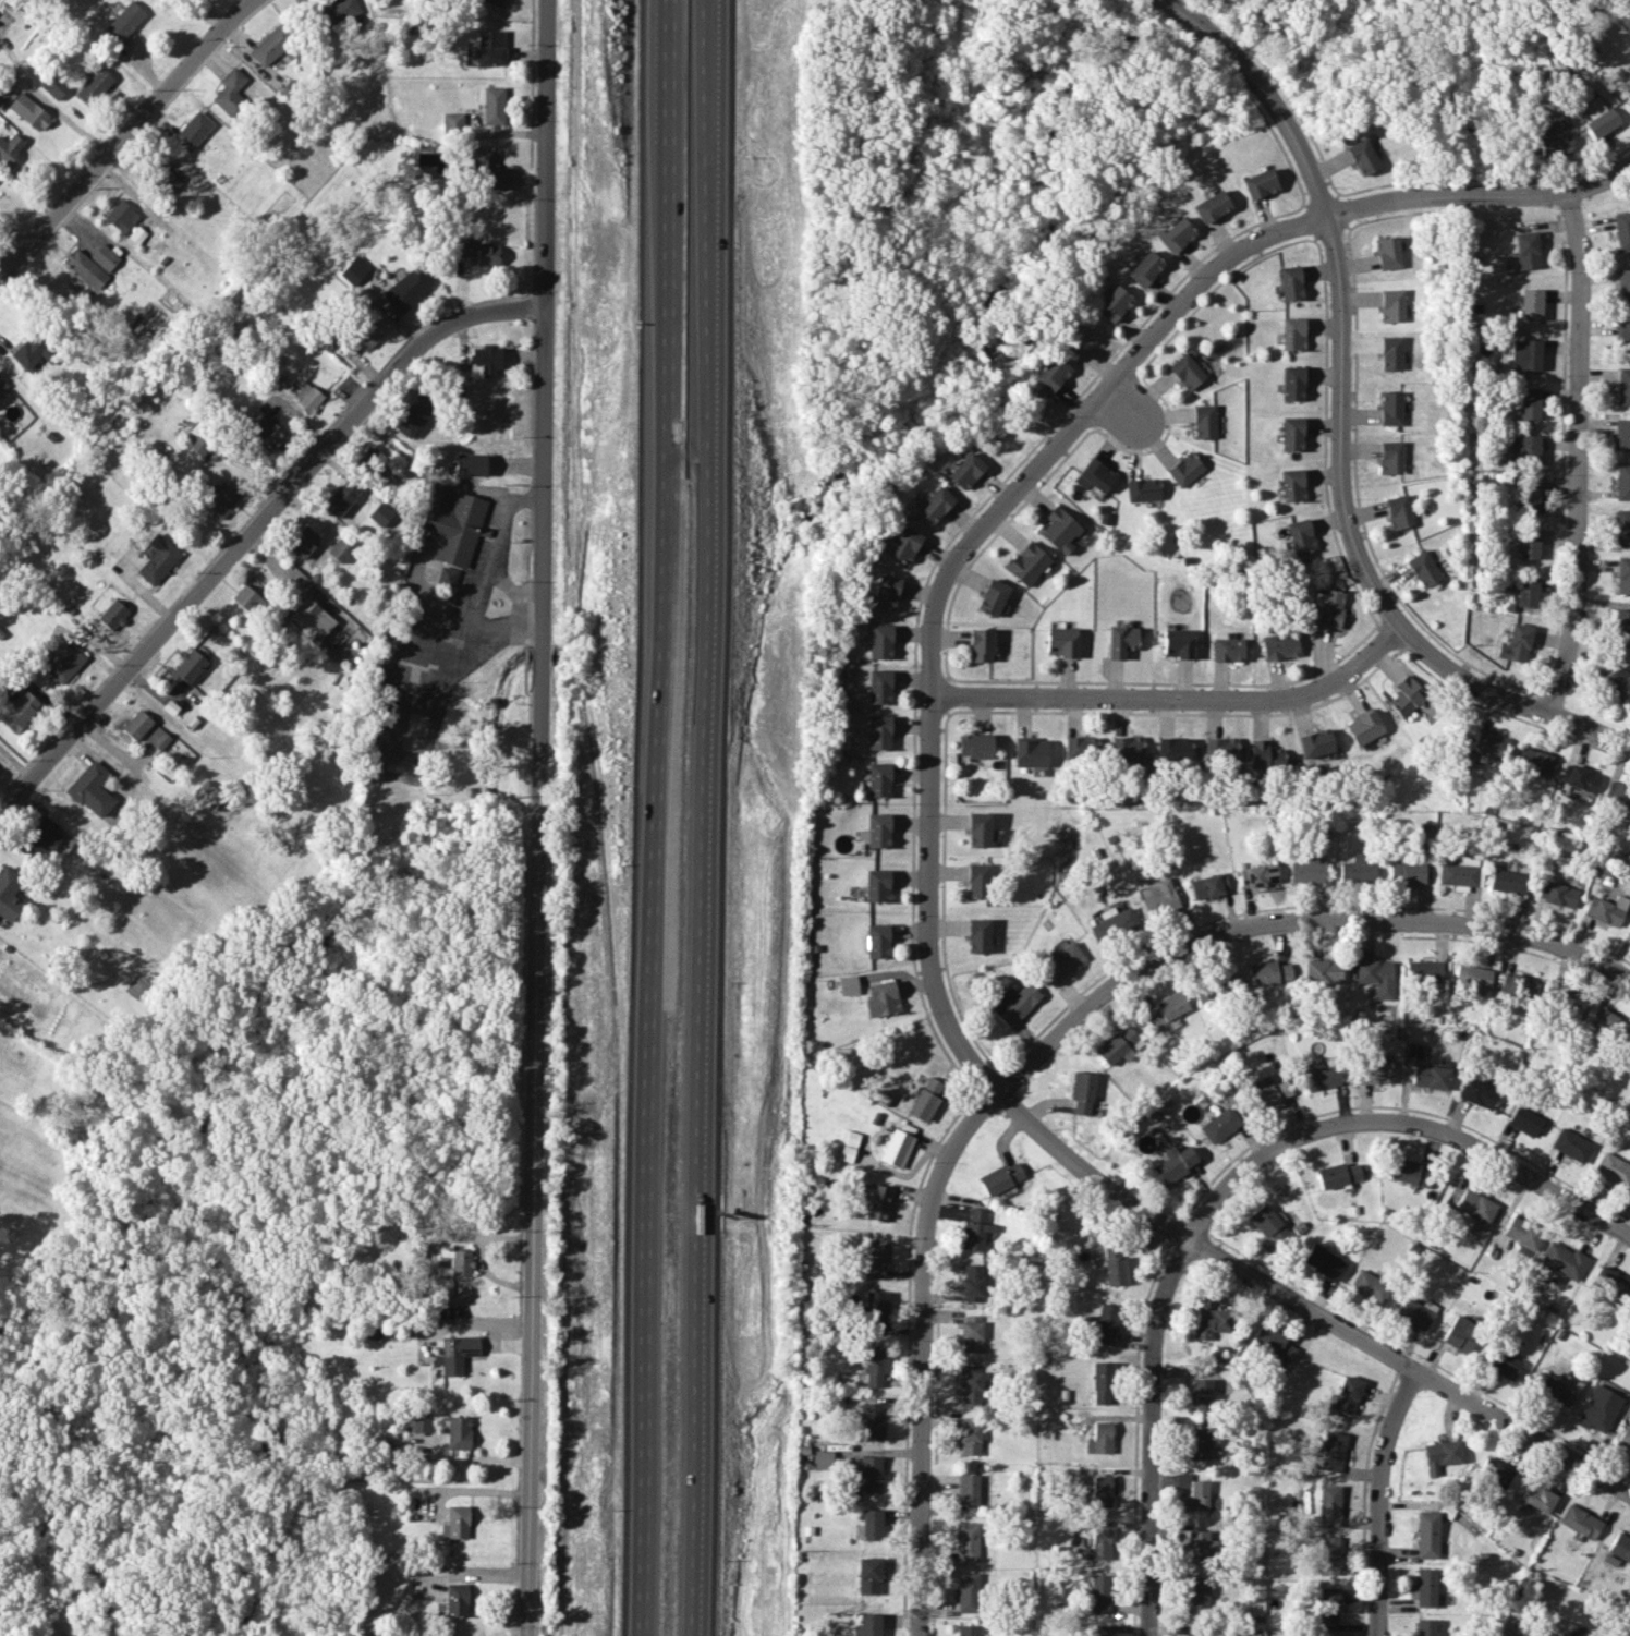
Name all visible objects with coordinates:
building: (494, 2)
road: (1171, 8)
building: (338, 10)
building: (124, 21)
building: (270, 46)
building: (490, 47)
building: (53, 85)
building: (94, 86)
building: (1627, 87)
building: (229, 89)
building: (3, 92)
road: (46, 101)
building: (491, 105)
building: (28, 111)
building: (1598, 118)
building: (452, 121)
building: (1554, 125)
building: (193, 131)
road: (127, 138)
building: (1554, 144)
building: (9, 148)
building: (1362, 157)
building: (486, 170)
building: (166, 173)
building: (1258, 183)
road: (1480, 196)
building: (1209, 206)
building: (120, 216)
building: (1621, 230)
building: (135, 233)
building: (1173, 234)
building: (1525, 250)
building: (477, 252)
building: (1387, 253)
building: (92, 264)
building: (1144, 268)
building: (353, 269)
building: (1289, 281)
building: (1623, 284)
building: (406, 289)
building: (1114, 303)
road: (1336, 304)
building: (1531, 304)
building: (1391, 305)
building: (1291, 334)
building: (368, 336)
building: (1623, 336)
building: (1083, 338)
building: (31, 351)
building: (1391, 353)
building: (1525, 354)
building: (486, 359)
building: (1187, 371)
building: (1051, 373)
road: (540, 375)
building: (2, 384)
building: (1291, 384)
building: (1622, 386)
building: (307, 397)
building: (1530, 403)
road: (1120, 405)
building: (1390, 408)
building: (413, 414)
building: (1205, 421)
building: (264, 432)
building: (1290, 434)
building: (1622, 435)
building: (1524, 450)
road: (1579, 453)
building: (1390, 458)
building: (375, 459)
building: (470, 464)
building: (1185, 469)
building: (965, 470)
building: (1093, 477)
building: (1622, 482)
building: (1291, 485)
building: (1142, 489)
building: (1530, 497)
building: (221, 498)
building: (340, 498)
building: (935, 505)
building: (1398, 511)
building: (379, 514)
building: (1104, 518)
building: (452, 525)
building: (1622, 528)
road: (254, 530)
building: (1057, 530)
building: (1299, 535)
building: (302, 542)
building: (904, 544)
building: (1528, 544)
road: (494, 548)
building: (339, 550)
building: (157, 559)
building: (1026, 563)
building: (1422, 569)
building: (1622, 574)
building: (446, 575)
road: (942, 582)
building: (886, 592)
building: (1528, 592)
building: (993, 596)
building: (245, 597)
building: (1328, 607)
building: (112, 615)
building: (315, 619)
road: (479, 621)
building: (1621, 629)
building: (1120, 640)
building: (880, 641)
building: (1060, 641)
building: (1517, 642)
building: (1177, 643)
building: (982, 644)
building: (1278, 645)
building: (1226, 649)
building: (64, 663)
building: (188, 666)
building: (1618, 684)
building: (880, 686)
building: (1404, 695)
road: (1508, 696)
road: (1176, 699)
building: (20, 711)
building: (136, 725)
building: (1363, 728)
building: (879, 731)
building: (158, 738)
building: (1314, 743)
building: (1489, 744)
building: (974, 746)
building: (1080, 748)
building: (1126, 748)
building: (1219, 748)
building: (1172, 749)
building: (1029, 752)
building: (1264, 755)
building: (1536, 762)
building: (1579, 777)
building: (879, 779)
building: (90, 789)
building: (1617, 792)
building: (207, 795)
road: (656, 817)
road: (701, 817)
building: (977, 829)
building: (876, 831)
building: (41, 838)
building: (1357, 869)
building: (1307, 872)
building: (1459, 872)
building: (1406, 873)
building: (1257, 875)
building: (976, 880)
building: (1508, 882)
building: (877, 885)
building: (1208, 885)
building: (9, 894)
building: (1557, 894)
building: (1159, 897)
building: (1606, 909)
building: (1111, 923)
road: (1291, 929)
building: (1629, 932)
building: (977, 935)
building: (875, 941)
building: (1062, 960)
building: (1323, 971)
building: (1423, 971)
building: (1268, 972)
building: (1375, 977)
building: (1472, 977)
building: (848, 984)
building: (1519, 986)
building: (880, 998)
building: (1013, 1003)
building: (1567, 1004)
building: (1165, 1010)
building: (1607, 1025)
building: (1118, 1045)
building: (1629, 1050)
building: (1374, 1071)
building: (1430, 1076)
building: (1321, 1078)
building: (1081, 1092)
building: (1476, 1092)
building: (1272, 1095)
building: (926, 1099)
building: (1523, 1120)
building: (1219, 1125)
road: (1403, 1126)
building: (898, 1144)
building: (1570, 1144)
building: (849, 1146)
building: (1173, 1163)
building: (1613, 1170)
building: (1409, 1173)
building: (1337, 1175)
building: (1000, 1178)
road: (533, 1193)
building: (878, 1202)
building: (1474, 1209)
building: (1267, 1224)
building: (975, 1231)
building: (1522, 1233)
building: (873, 1258)
building: (1562, 1260)
building: (458, 1261)
building: (1324, 1262)
building: (1115, 1263)
building: (972, 1283)
building: (1609, 1284)
building: (1370, 1287)
road: (1305, 1305)
building: (875, 1311)
building: (1414, 1311)
building: (1629, 1316)
building: (1211, 1322)
building: (1105, 1324)
building: (971, 1333)
building: (1460, 1334)
building: (1273, 1345)
building: (455, 1353)
road: (921, 1355)
building: (874, 1365)
building: (1503, 1365)
building: (1100, 1382)
building: (970, 1384)
building: (1548, 1389)
building: (1346, 1395)
building: (1200, 1396)
building: (1598, 1409)
building: (869, 1420)
building: (417, 1425)
building: (457, 1431)
road: (1152, 1432)
building: (970, 1435)
building: (1625, 1438)
building: (1099, 1439)
building: (1199, 1443)
building: (1333, 1452)
building: (1440, 1455)
building: (823, 1459)
building: (1495, 1471)
building: (869, 1475)
building: (970, 1491)
building: (1100, 1491)
building: (1192, 1492)
building: (1537, 1498)
road: (1382, 1500)
building: (1329, 1505)
building: (1580, 1522)
building: (455, 1523)
building: (869, 1525)
building: (1426, 1535)
building: (969, 1541)
building: (1097, 1546)
building: (1200, 1546)
building: (1620, 1547)
building: (1328, 1555)
building: (868, 1575)
building: (1424, 1588)
building: (968, 1591)
building: (1099, 1593)
building: (1196, 1595)
building: (455, 1599)
building: (1327, 1605)
building: (867, 1625)
building: (1424, 1627)
building: (966, 1629)
building: (1195, 1632)
building: (1574, 1633)
building: (1098, 1634)
building: (1611, 1635)

